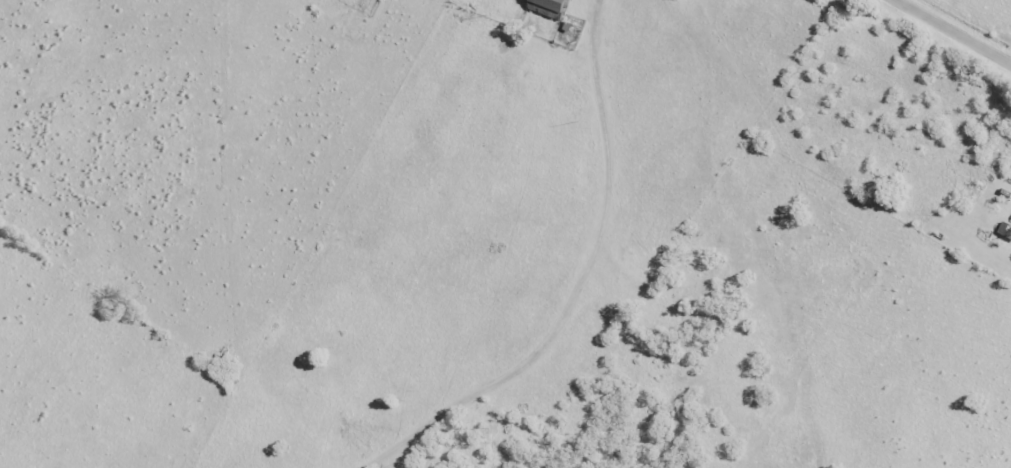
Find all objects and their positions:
building: (546, 7)
road: (957, 30)
building: (1004, 231)

